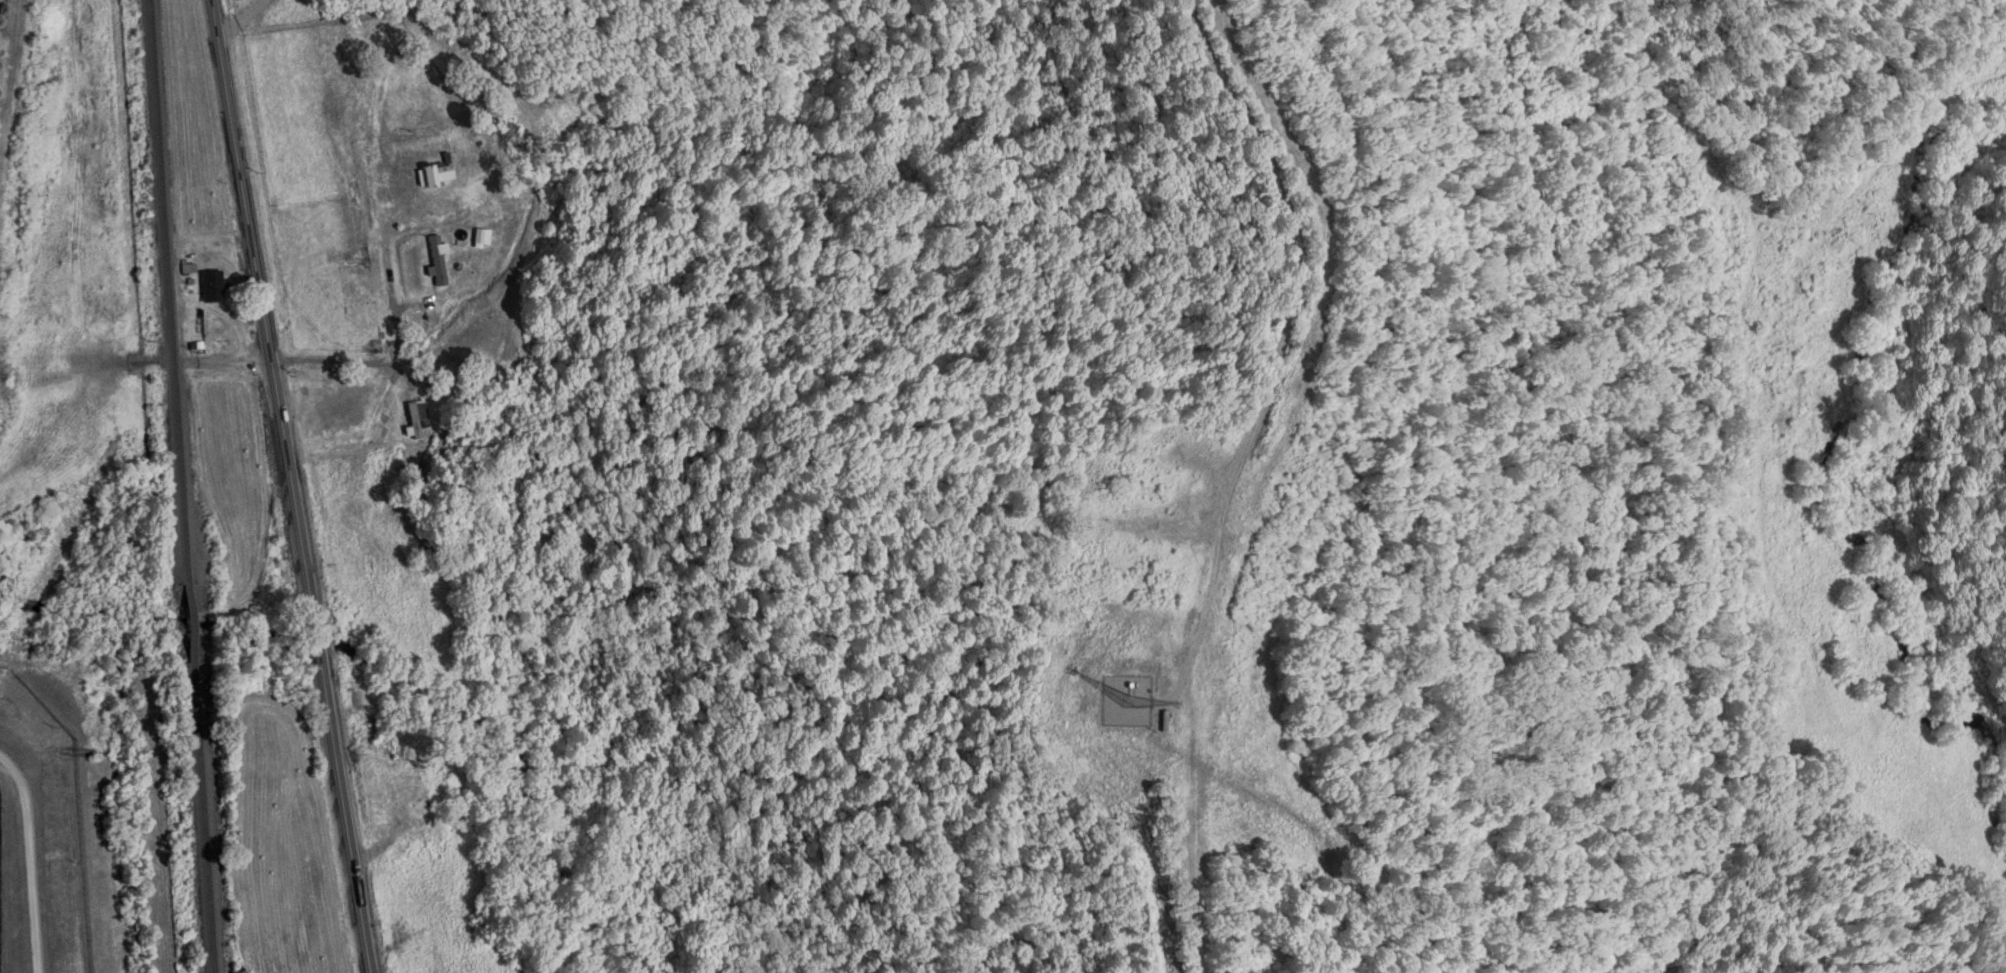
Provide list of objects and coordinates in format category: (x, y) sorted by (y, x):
road: (241, 19)
building: (389, 39)
building: (453, 115)
building: (498, 130)
building: (435, 175)
building: (438, 259)
building: (213, 286)
road: (399, 345)
road: (1277, 358)
road: (236, 365)
building: (418, 416)
railway: (175, 486)
road: (292, 486)
building: (505, 610)
aquafarm: (39, 838)
road: (30, 859)

